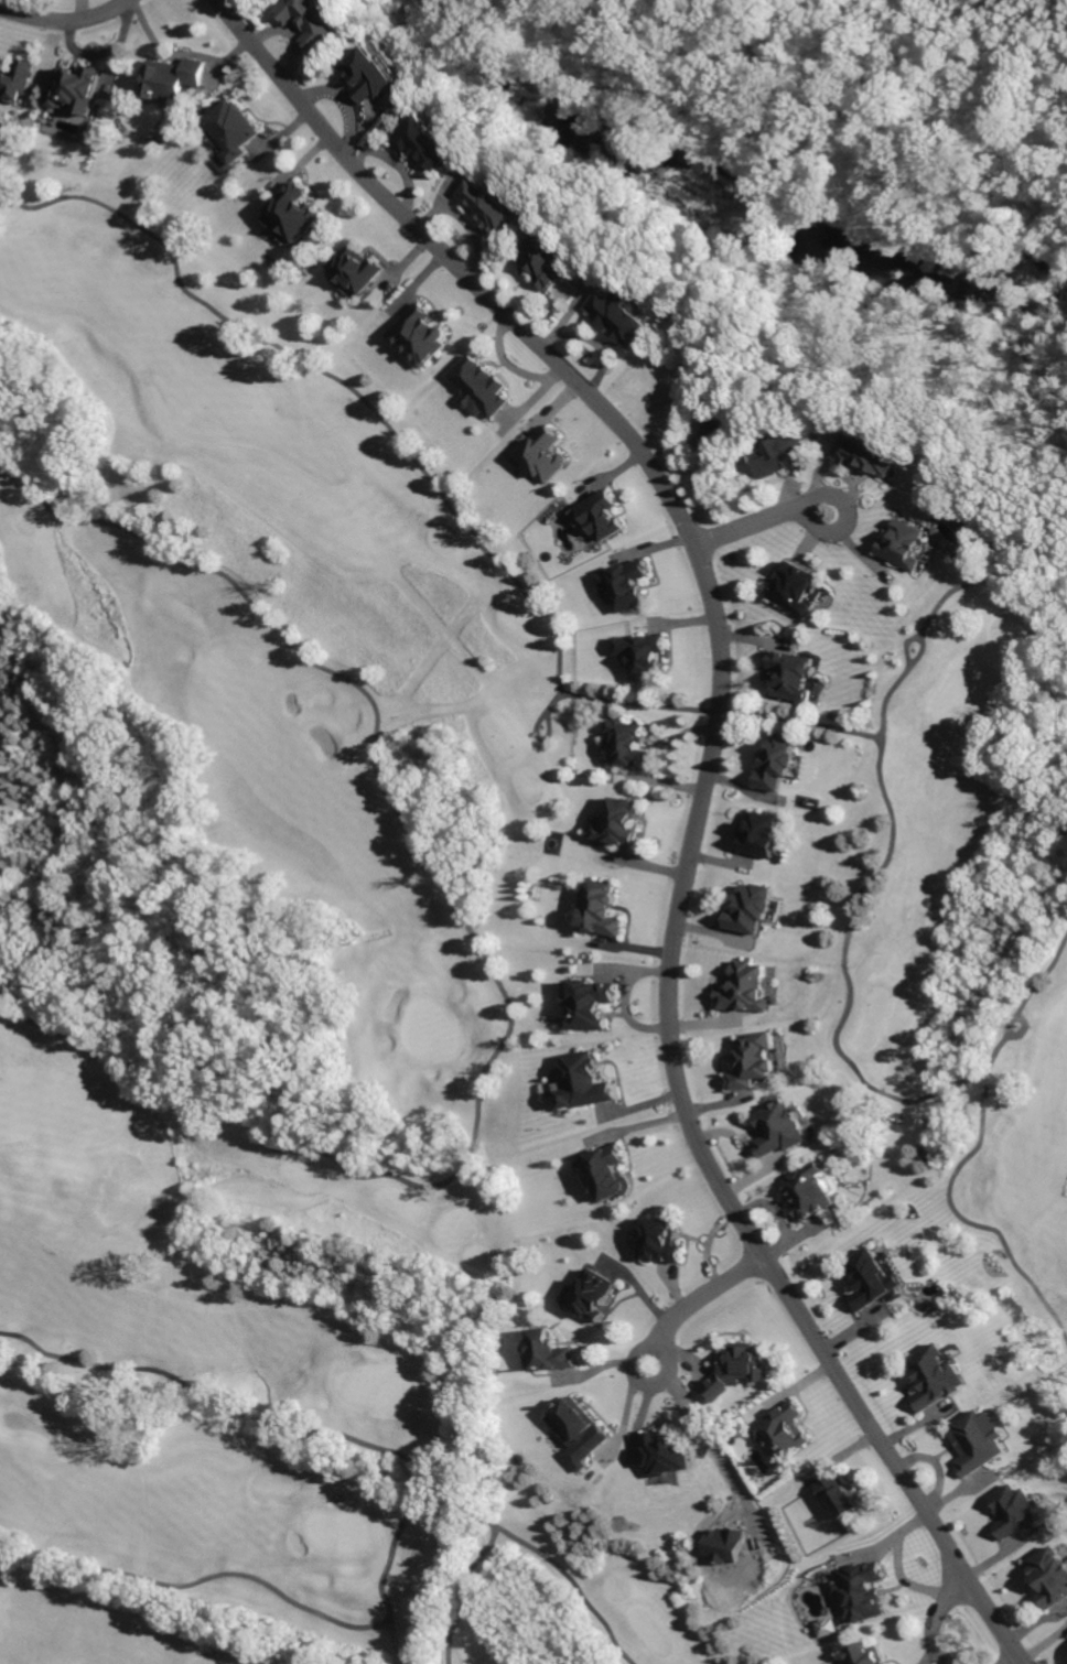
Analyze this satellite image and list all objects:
building: (317, 21)
road: (66, 23)
building: (374, 75)
building: (169, 78)
building: (14, 79)
building: (75, 90)
building: (229, 132)
building: (432, 141)
river: (729, 203)
building: (494, 207)
building: (293, 215)
building: (551, 257)
building: (355, 264)
building: (623, 317)
building: (419, 335)
road: (341, 381)
building: (479, 386)
building: (714, 436)
building: (872, 449)
building: (543, 454)
building: (782, 454)
building: (599, 517)
road: (764, 528)
building: (907, 542)
road: (698, 553)
building: (628, 586)
building: (798, 587)
road: (907, 645)
building: (642, 653)
building: (794, 673)
road: (827, 726)
road: (538, 737)
building: (629, 744)
building: (779, 764)
building: (619, 822)
building: (763, 834)
building: (750, 906)
building: (599, 907)
park: (959, 941)
road: (481, 953)
road: (844, 975)
park: (282, 987)
building: (747, 990)
building: (588, 1001)
road: (1021, 1030)
building: (752, 1060)
building: (584, 1082)
building: (778, 1125)
road: (967, 1156)
building: (604, 1174)
building: (811, 1193)
building: (661, 1239)
building: (871, 1276)
building: (591, 1292)
road: (700, 1299)
building: (549, 1348)
building: (737, 1368)
building: (936, 1375)
road: (287, 1429)
building: (573, 1429)
building: (782, 1433)
road: (701, 1439)
building: (973, 1441)
building: (664, 1454)
road: (891, 1462)
building: (840, 1503)
building: (1012, 1510)
road: (478, 1556)
road: (892, 1566)
building: (1049, 1573)
road: (198, 1581)
road: (572, 1585)
building: (856, 1592)
road: (936, 1617)
building: (824, 1628)
building: (1066, 1641)
road: (392, 1643)
building: (865, 1652)

